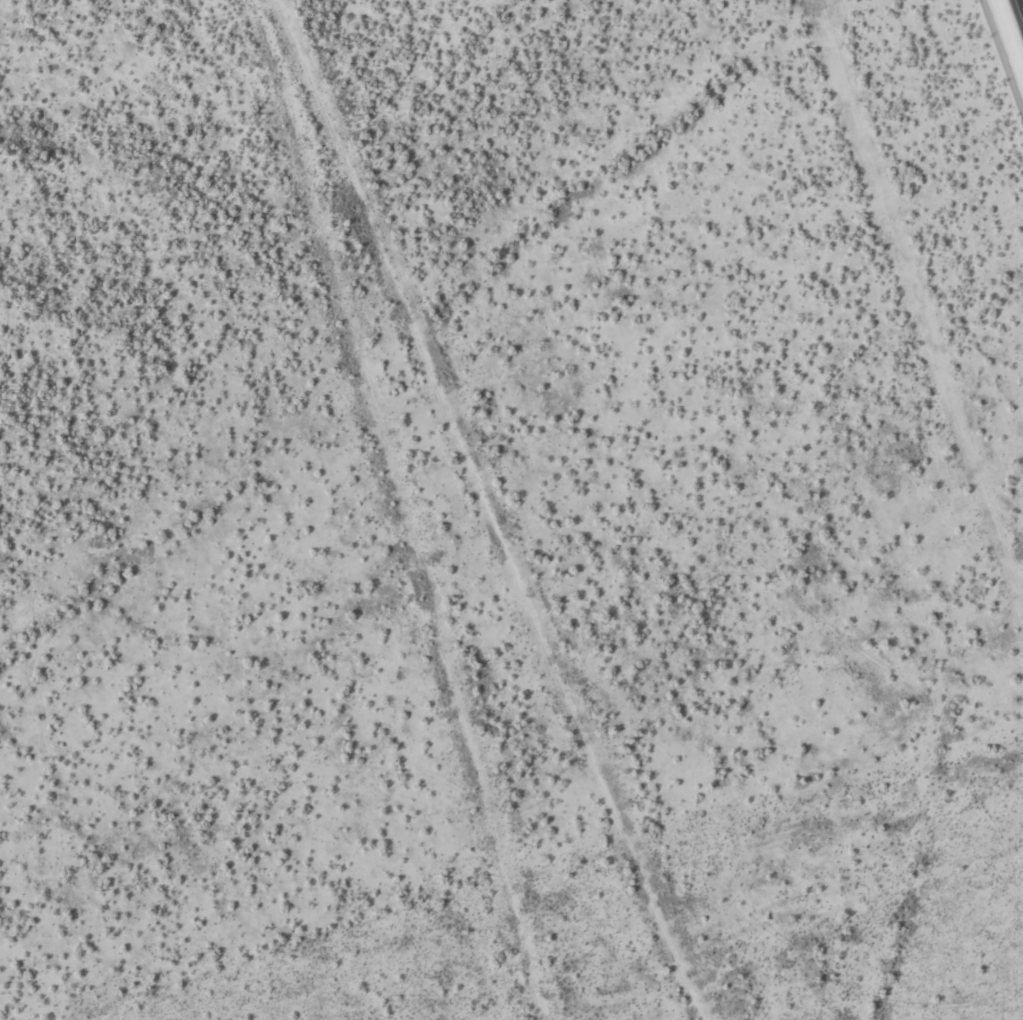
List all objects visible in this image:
road: (2, 3)

